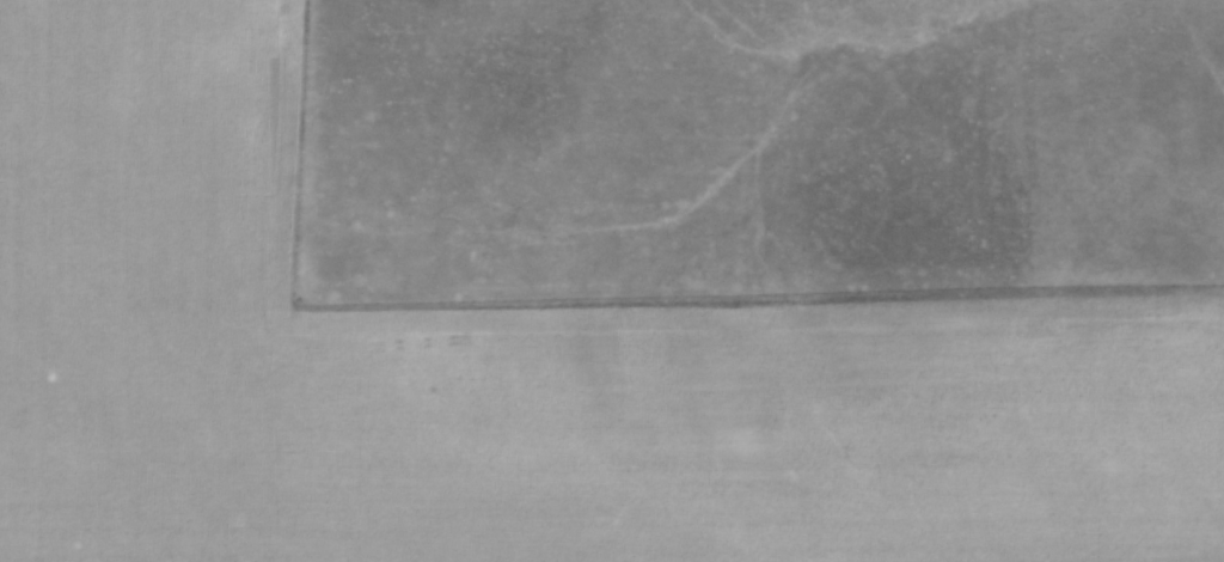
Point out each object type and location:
crop: (514, 368)

